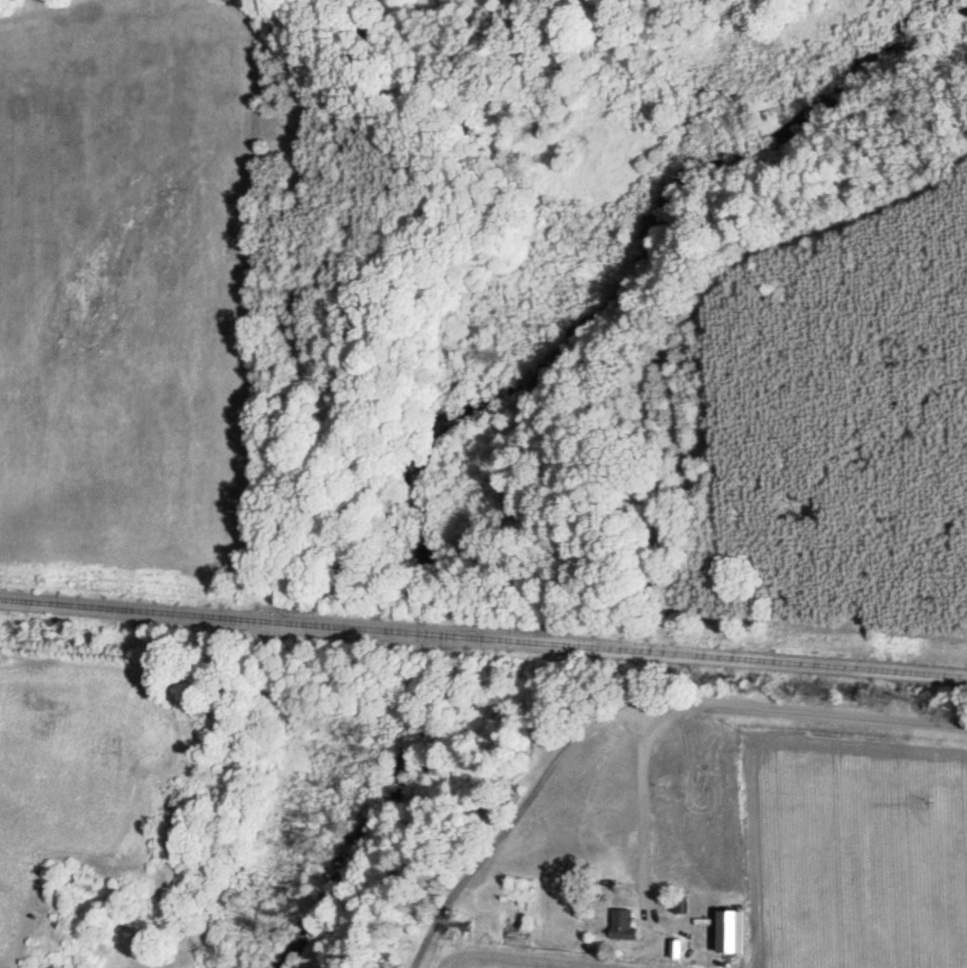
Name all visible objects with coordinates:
railway: (483, 638)
road: (738, 710)
building: (625, 924)
building: (733, 930)

